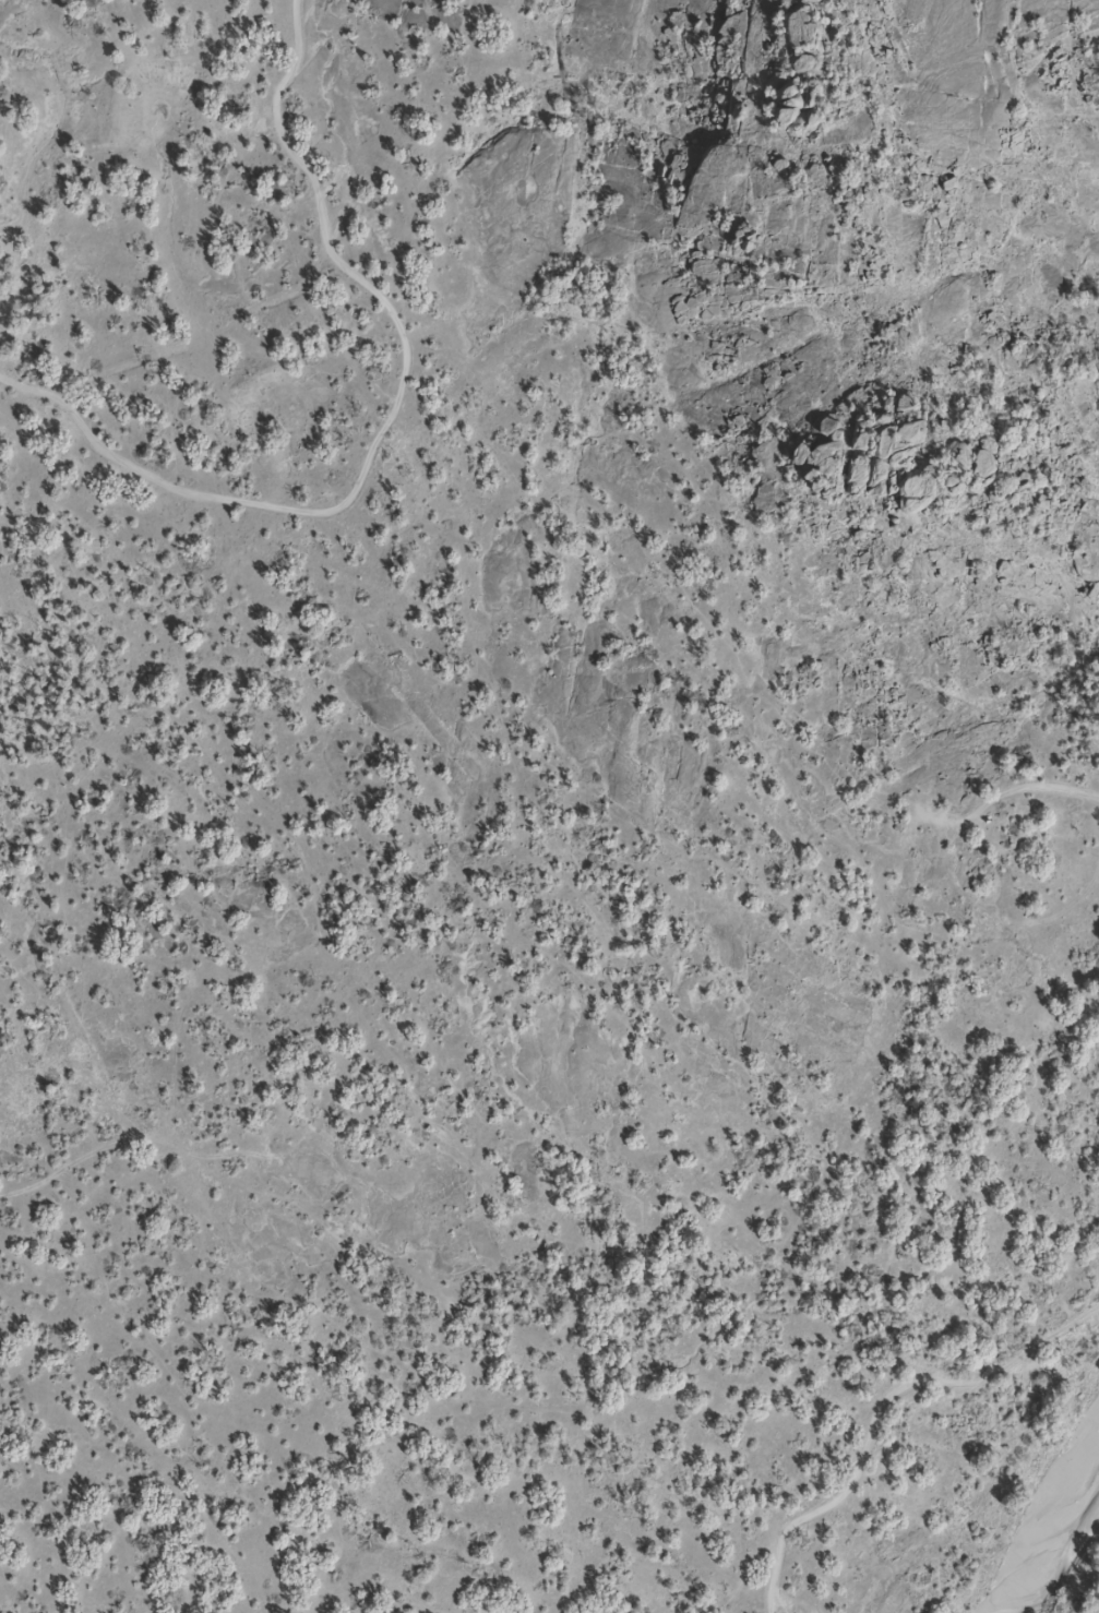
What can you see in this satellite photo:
building: (800, 456)
road: (882, 1407)
river: (1052, 1540)

